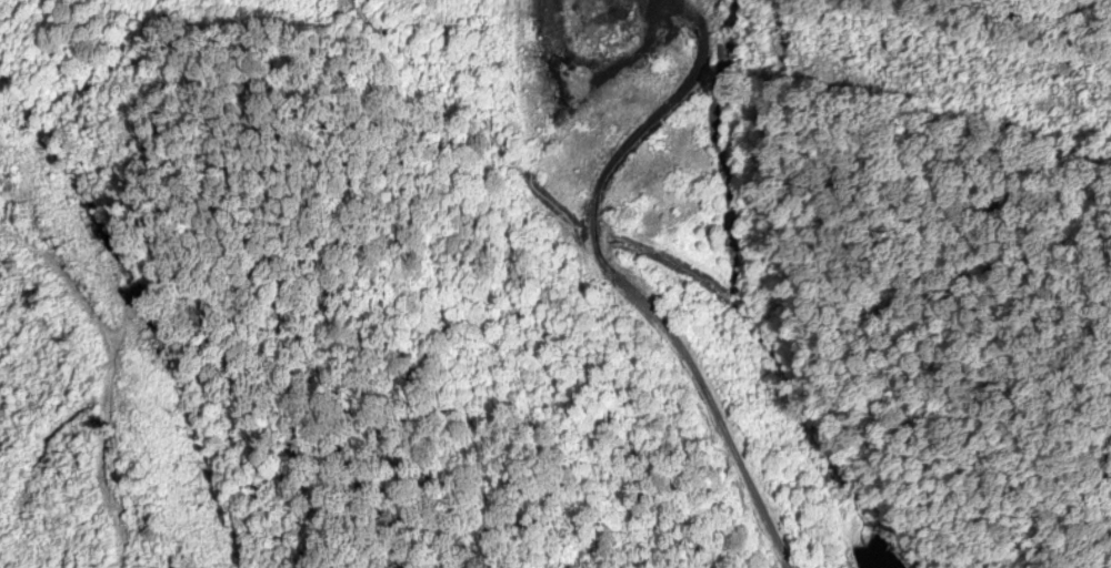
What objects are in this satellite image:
road: (619, 284)

